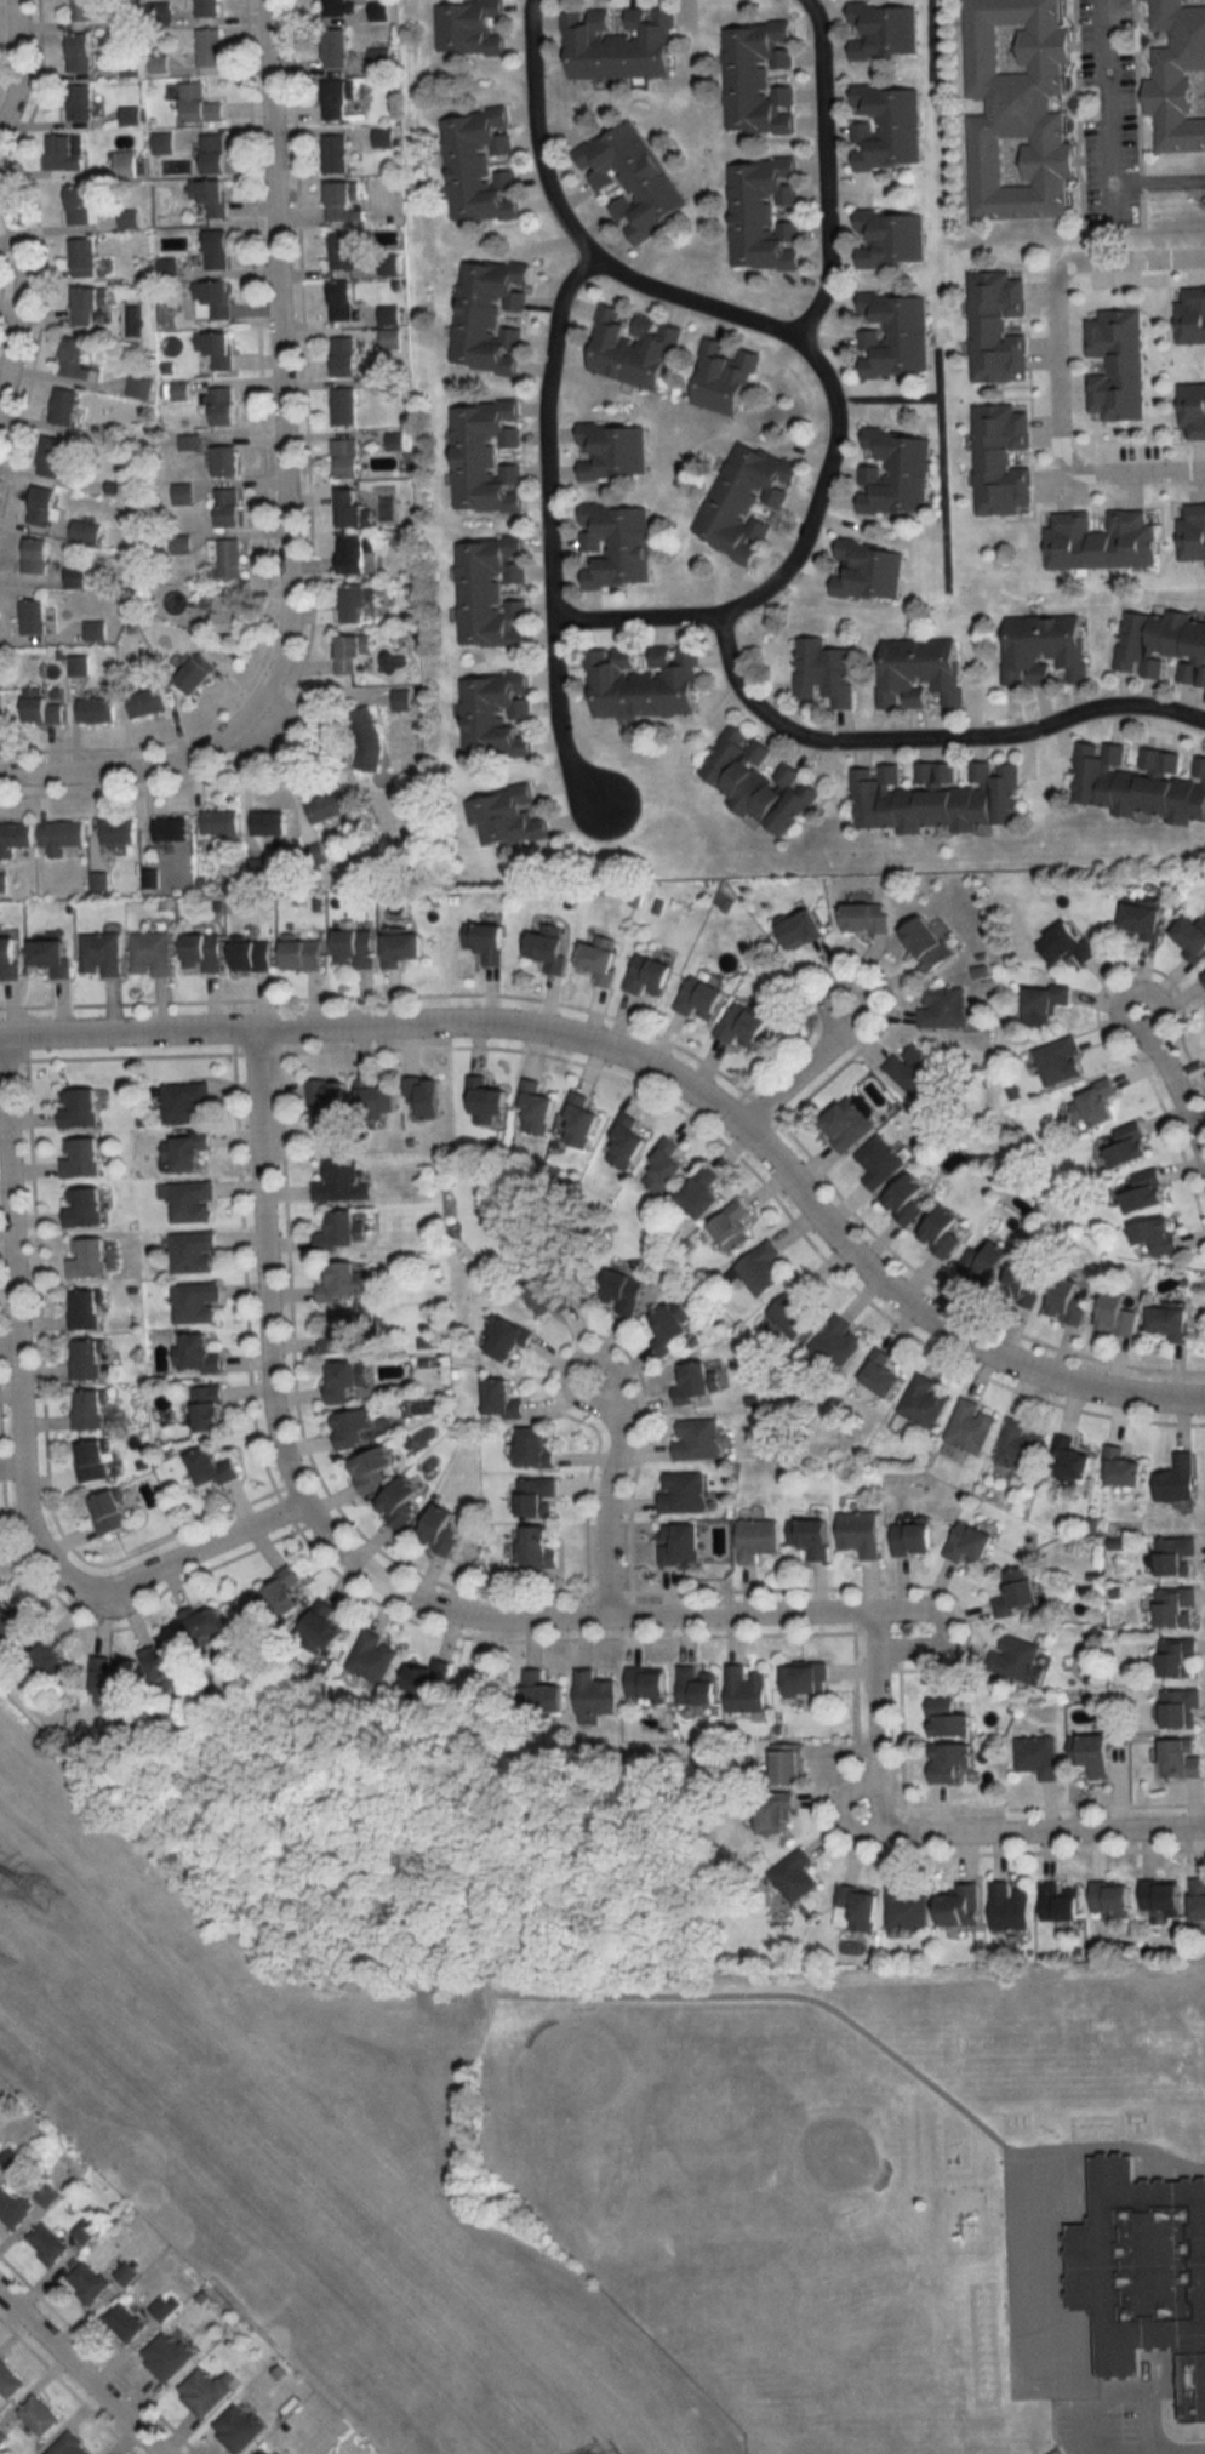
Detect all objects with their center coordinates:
building: (207, 7)
building: (339, 7)
building: (87, 10)
building: (470, 25)
building: (883, 29)
building: (618, 44)
building: (209, 46)
building: (336, 47)
building: (79, 51)
road: (16, 62)
building: (1178, 75)
building: (759, 76)
building: (339, 98)
building: (79, 101)
building: (199, 103)
building: (1017, 108)
building: (886, 126)
road: (1110, 137)
building: (162, 142)
building: (64, 150)
building: (213, 152)
building: (335, 152)
building: (124, 162)
building: (479, 165)
road: (822, 170)
building: (630, 177)
building: (211, 195)
building: (344, 200)
road: (1114, 202)
building: (80, 205)
building: (763, 213)
building: (129, 218)
building: (890, 238)
building: (217, 249)
building: (343, 249)
building: (84, 257)
building: (213, 299)
building: (342, 299)
road: (19, 301)
building: (88, 303)
building: (389, 314)
building: (489, 315)
building: (1192, 316)
building: (998, 326)
building: (893, 333)
building: (390, 337)
road: (798, 337)
building: (632, 347)
building: (218, 350)
building: (344, 355)
building: (75, 358)
road: (1055, 364)
building: (1117, 364)
building: (724, 377)
building: (138, 386)
building: (63, 405)
building: (222, 405)
building: (344, 406)
building: (1193, 410)
building: (612, 449)
building: (52, 455)
building: (486, 456)
building: (345, 457)
building: (1003, 458)
building: (225, 460)
building: (895, 473)
building: (182, 492)
road: (282, 496)
building: (747, 500)
building: (41, 504)
building: (228, 507)
building: (354, 507)
building: (85, 530)
building: (1193, 532)
road: (546, 535)
building: (1103, 541)
building: (616, 544)
building: (358, 553)
building: (35, 554)
building: (227, 555)
building: (868, 570)
building: (75, 577)
building: (491, 592)
building: (358, 601)
building: (224, 613)
building: (33, 616)
building: (95, 630)
building: (1163, 644)
building: (1045, 650)
building: (354, 654)
building: (78, 664)
building: (195, 673)
building: (824, 673)
building: (920, 673)
building: (644, 681)
building: (147, 702)
building: (41, 707)
building: (96, 709)
building: (496, 714)
road: (926, 737)
building: (366, 738)
building: (758, 781)
building: (1137, 781)
building: (936, 797)
building: (326, 806)
building: (507, 817)
building: (219, 821)
building: (269, 822)
building: (171, 828)
building: (119, 831)
building: (61, 835)
building: (16, 838)
building: (868, 918)
building: (1143, 920)
building: (801, 929)
building: (1192, 936)
building: (486, 942)
building: (927, 943)
building: (1068, 943)
building: (355, 947)
building: (404, 948)
building: (550, 948)
building: (152, 952)
building: (202, 952)
building: (101, 953)
building: (303, 953)
building: (252, 954)
building: (52, 955)
building: (10, 957)
building: (601, 958)
building: (650, 975)
building: (1204, 975)
building: (701, 998)
building: (1045, 1005)
building: (943, 1006)
building: (743, 1026)
building: (1060, 1060)
road: (801, 1066)
building: (914, 1068)
road: (655, 1072)
road: (1172, 1092)
building: (424, 1097)
building: (331, 1098)
building: (378, 1098)
building: (185, 1102)
building: (1096, 1102)
building: (487, 1103)
building: (537, 1106)
building: (79, 1107)
building: (581, 1119)
building: (847, 1124)
building: (627, 1141)
building: (1126, 1145)
building: (188, 1151)
building: (80, 1157)
building: (880, 1162)
building: (666, 1166)
building: (341, 1182)
building: (1147, 1191)
building: (703, 1194)
building: (908, 1199)
building: (189, 1200)
building: (84, 1206)
building: (732, 1226)
building: (343, 1232)
building: (946, 1232)
building: (1159, 1235)
building: (194, 1252)
building: (87, 1257)
building: (986, 1262)
building: (763, 1268)
building: (344, 1282)
building: (1027, 1282)
building: (623, 1291)
building: (552, 1292)
building: (1069, 1301)
building: (196, 1302)
building: (85, 1309)
building: (795, 1312)
building: (1119, 1314)
building: (1171, 1320)
building: (674, 1326)
building: (347, 1332)
building: (510, 1341)
building: (838, 1342)
building: (196, 1354)
building: (87, 1359)
building: (881, 1372)
building: (347, 1379)
building: (696, 1382)
building: (503, 1400)
building: (925, 1402)
building: (209, 1409)
building: (91, 1410)
building: (971, 1426)
building: (354, 1427)
building: (697, 1438)
road: (19, 1440)
building: (1021, 1446)
building: (535, 1449)
building: (95, 1460)
building: (1072, 1460)
building: (1123, 1467)
building: (212, 1468)
building: (373, 1469)
building: (1178, 1479)
building: (681, 1491)
road: (604, 1495)
building: (535, 1496)
building: (400, 1503)
building: (109, 1513)
building: (440, 1531)
building: (862, 1533)
building: (811, 1537)
building: (758, 1539)
building: (914, 1540)
building: (680, 1545)
building: (971, 1545)
building: (542, 1547)
building: (1176, 1556)
building: (0, 1579)
building: (1020, 1592)
building: (286, 1594)
building: (1177, 1608)
road: (940, 1616)
road: (590, 1620)
building: (13, 1622)
building: (324, 1626)
building: (205, 1630)
building: (372, 1657)
building: (1180, 1657)
building: (1017, 1660)
building: (165, 1665)
building: (47, 1666)
building: (429, 1679)
building: (806, 1682)
building: (112, 1683)
building: (647, 1684)
building: (697, 1687)
building: (746, 1691)
building: (542, 1694)
building: (595, 1695)
building: (1181, 1710)
building: (949, 1719)
building: (1093, 1756)
building: (1039, 1757)
building: (1182, 1758)
building: (950, 1762)
building: (789, 1764)
building: (776, 1814)
building: (794, 1877)
power tower: (55, 1890)
building: (1161, 1895)
building: (1112, 1899)
building: (1199, 1899)
building: (1060, 1902)
building: (961, 1906)
building: (1010, 1906)
building: (906, 1907)
building: (857, 1908)
power tower: (10, 1956)
road: (593, 1993)
building: (15, 2208)
road: (1033, 2214)
building: (84, 2231)
building: (47, 2243)
building: (1143, 2271)
building: (126, 2273)
building: (87, 2282)
building: (161, 2307)
building: (124, 2321)
building: (166, 2356)
road: (81, 2373)
building: (8, 2380)
building: (204, 2392)
road: (1098, 2403)
building: (39, 2414)
building: (239, 2429)
building: (69, 2446)
road: (1180, 2447)
building: (264, 2452)

